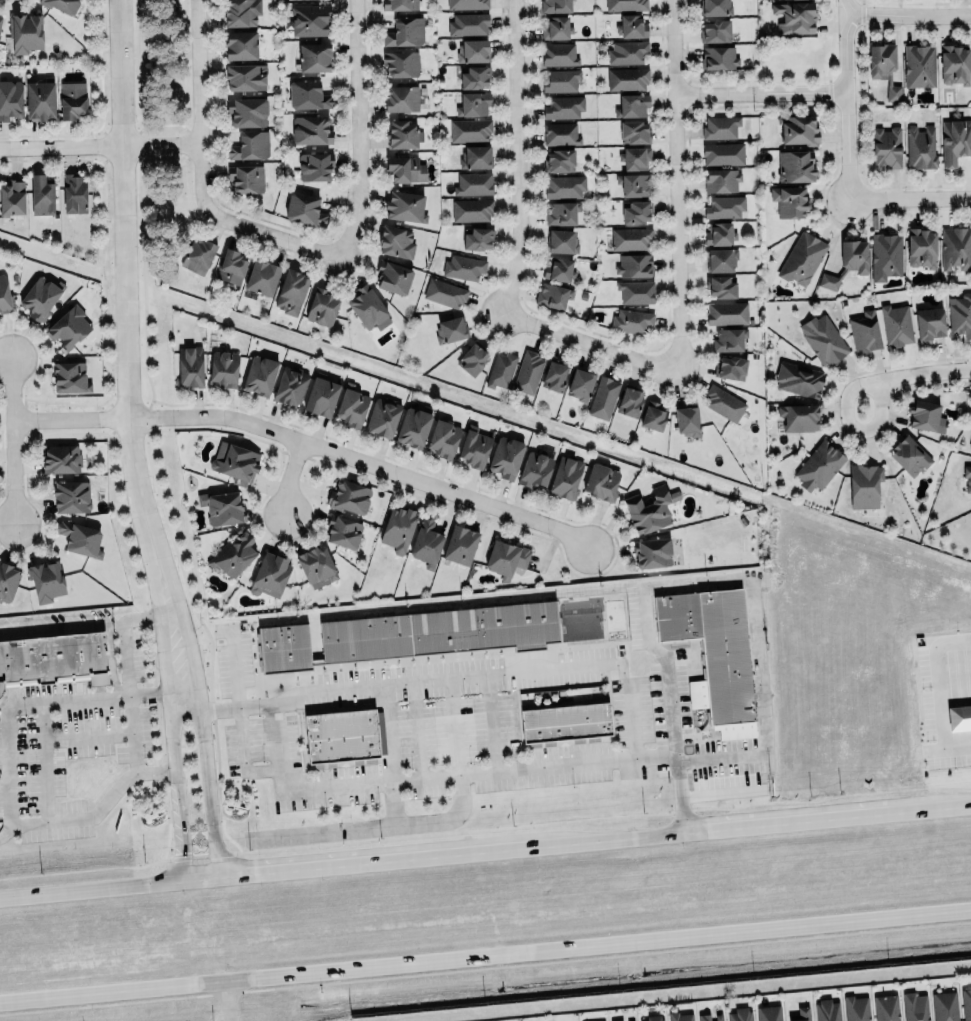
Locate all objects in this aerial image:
building: (400, 4)
building: (467, 4)
building: (625, 4)
building: (62, 5)
building: (555, 6)
building: (715, 7)
building: (242, 12)
road: (908, 16)
building: (0, 17)
building: (793, 17)
building: (310, 19)
building: (468, 24)
building: (632, 26)
building: (556, 28)
building: (404, 31)
building: (716, 31)
building: (25, 32)
building: (241, 45)
building: (473, 50)
building: (627, 52)
building: (557, 53)
building: (314, 57)
building: (718, 57)
building: (401, 63)
building: (955, 64)
building: (919, 65)
building: (885, 68)
building: (245, 76)
building: (473, 77)
building: (624, 77)
building: (561, 80)
building: (423, 90)
road: (763, 93)
building: (308, 95)
building: (402, 98)
building: (10, 99)
building: (40, 99)
building: (71, 100)
building: (474, 100)
road: (849, 100)
road: (202, 105)
building: (633, 105)
building: (564, 106)
building: (247, 111)
building: (720, 127)
building: (311, 129)
road: (360, 129)
building: (469, 129)
building: (799, 129)
building: (634, 131)
building: (401, 132)
building: (561, 133)
building: (956, 141)
road: (101, 145)
building: (249, 145)
building: (887, 147)
building: (921, 147)
building: (722, 151)
road: (520, 156)
building: (636, 157)
building: (559, 160)
building: (314, 166)
building: (795, 167)
building: (405, 168)
building: (246, 178)
building: (721, 180)
building: (474, 183)
building: (634, 184)
building: (565, 185)
road: (678, 186)
building: (73, 193)
building: (41, 195)
building: (12, 198)
road: (912, 200)
building: (790, 201)
building: (405, 206)
building: (725, 206)
building: (303, 209)
building: (471, 209)
building: (561, 212)
building: (637, 212)
road: (275, 233)
road: (125, 234)
building: (720, 234)
building: (478, 238)
building: (631, 239)
building: (562, 241)
building: (396, 242)
building: (921, 247)
building: (955, 248)
building: (198, 255)
building: (854, 255)
building: (886, 256)
building: (802, 258)
building: (721, 259)
building: (635, 265)
building: (231, 266)
building: (464, 266)
building: (559, 269)
building: (393, 276)
building: (262, 277)
building: (828, 281)
building: (719, 286)
building: (635, 291)
building: (291, 292)
building: (444, 292)
building: (552, 295)
building: (5, 296)
building: (41, 297)
building: (367, 306)
building: (321, 307)
building: (727, 313)
building: (960, 314)
building: (632, 320)
building: (929, 323)
building: (896, 324)
building: (68, 327)
building: (450, 329)
building: (865, 332)
building: (729, 339)
building: (824, 339)
road: (593, 341)
building: (472, 359)
building: (190, 366)
building: (223, 367)
building: (731, 367)
building: (501, 369)
building: (527, 371)
building: (260, 375)
building: (555, 376)
road: (911, 376)
building: (70, 377)
building: (798, 379)
building: (581, 384)
building: (290, 385)
building: (320, 396)
building: (603, 398)
building: (629, 401)
building: (724, 403)
building: (351, 406)
building: (653, 416)
building: (926, 416)
building: (383, 417)
building: (685, 417)
building: (800, 417)
building: (413, 428)
building: (442, 438)
road: (14, 440)
road: (311, 442)
building: (970, 444)
building: (475, 449)
building: (909, 455)
building: (506, 457)
building: (61, 459)
building: (235, 462)
building: (818, 465)
building: (535, 469)
road: (290, 476)
building: (565, 476)
building: (968, 477)
building: (601, 482)
building: (864, 485)
building: (71, 497)
building: (349, 497)
building: (222, 507)
building: (651, 510)
building: (398, 528)
building: (344, 532)
building: (80, 539)
building: (426, 542)
building: (460, 545)
building: (652, 552)
building: (234, 554)
building: (505, 557)
building: (317, 566)
building: (269, 574)
building: (7, 581)
building: (46, 581)
road: (731, 581)
road: (141, 616)
road: (114, 620)
road: (53, 625)
building: (440, 630)
building: (284, 647)
building: (713, 653)
building: (55, 657)
road: (194, 667)
road: (166, 672)
road: (491, 674)
road: (183, 687)
road: (28, 700)
building: (564, 712)
road: (131, 713)
road: (240, 714)
road: (43, 719)
road: (491, 722)
road: (453, 725)
road: (417, 729)
road: (387, 731)
building: (341, 735)
road: (438, 773)
road: (45, 790)
road: (394, 802)
road: (929, 807)
road: (785, 819)
road: (28, 822)
road: (376, 827)
road: (6, 830)
road: (609, 837)
road: (375, 860)
road: (200, 877)
road: (91, 889)
road: (485, 954)
railway: (547, 980)
road: (227, 1000)
building: (966, 1003)
building: (945, 1006)
building: (856, 1007)
building: (886, 1007)
building: (915, 1007)
building: (828, 1010)
building: (768, 1013)
building: (740, 1014)
building: (802, 1014)
building: (679, 1016)
building: (704, 1016)
building: (718, 1016)
building: (653, 1017)
building: (616, 1019)
building: (601, 1020)
building: (631, 1020)

